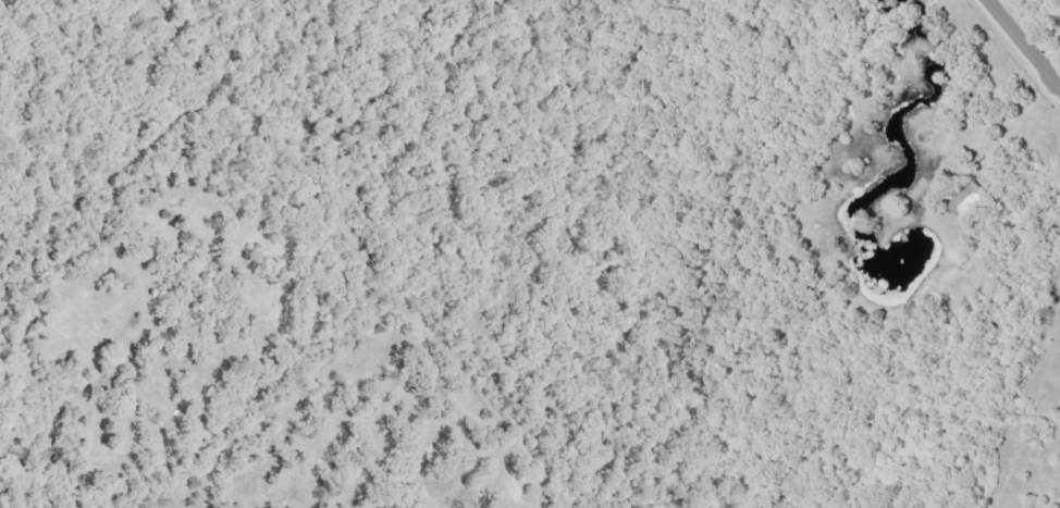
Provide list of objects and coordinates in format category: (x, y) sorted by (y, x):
road: (1022, 45)
building: (972, 201)

